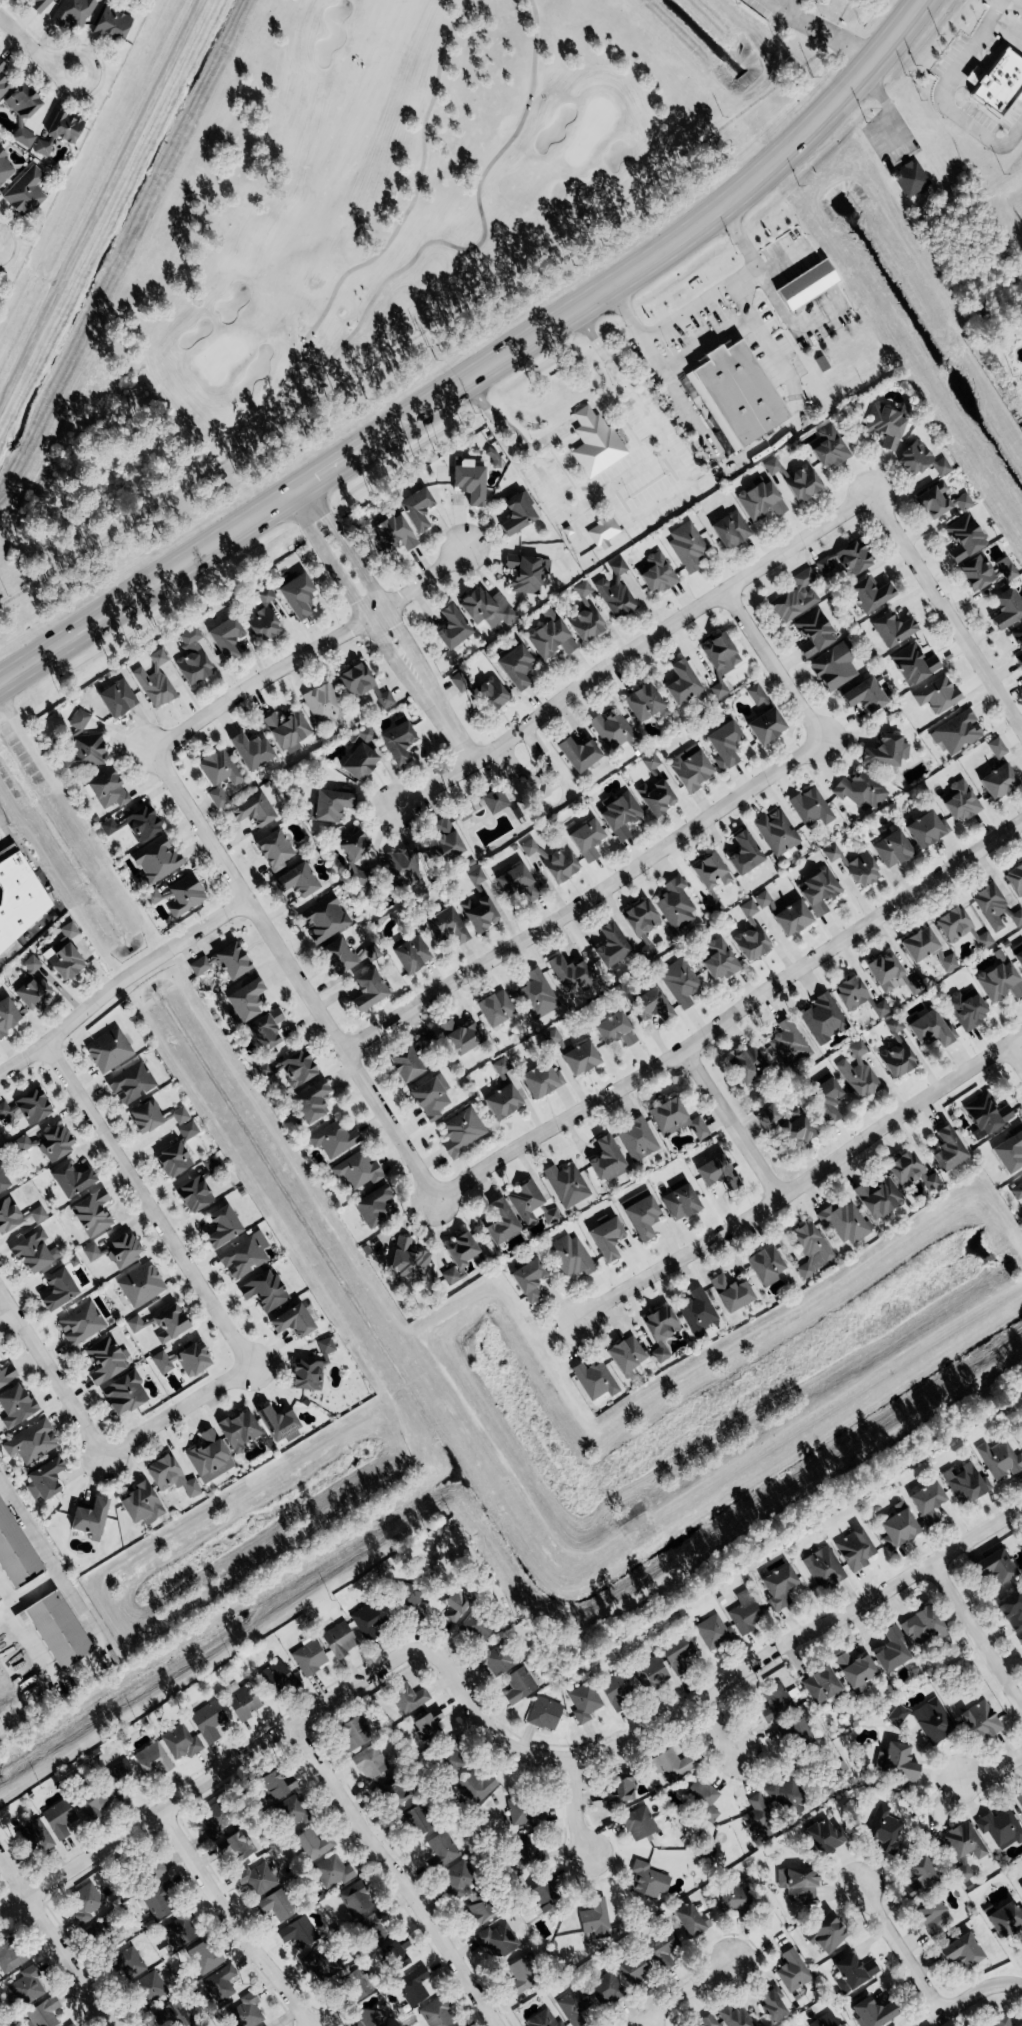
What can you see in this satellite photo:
road: (779, 4)
road: (1014, 4)
building: (40, 6)
building: (74, 13)
building: (114, 29)
road: (824, 32)
road: (31, 57)
building: (2, 66)
building: (998, 83)
building: (3, 87)
road: (940, 96)
road: (888, 106)
building: (21, 113)
park: (590, 130)
building: (58, 133)
building: (4, 168)
building: (910, 178)
building: (25, 191)
road: (665, 251)
park: (352, 255)
building: (806, 286)
road: (687, 309)
road: (705, 338)
road: (338, 350)
building: (738, 393)
building: (885, 426)
road: (776, 436)
building: (595, 443)
building: (829, 447)
building: (914, 459)
building: (773, 466)
building: (942, 467)
road: (329, 468)
building: (469, 482)
building: (802, 483)
building: (762, 501)
building: (933, 502)
building: (963, 502)
building: (416, 509)
building: (515, 515)
road: (640, 516)
building: (730, 530)
building: (604, 533)
building: (391, 534)
building: (964, 539)
building: (688, 546)
building: (845, 560)
building: (986, 571)
building: (527, 573)
building: (657, 573)
road: (366, 577)
road: (147, 585)
road: (347, 589)
building: (616, 592)
building: (870, 595)
building: (296, 596)
building: (797, 597)
building: (487, 609)
building: (1007, 609)
road: (946, 610)
building: (585, 616)
building: (262, 618)
building: (451, 628)
building: (893, 630)
building: (814, 633)
building: (1018, 636)
building: (225, 639)
building: (552, 639)
road: (630, 649)
road: (310, 651)
building: (720, 655)
building: (192, 658)
building: (1019, 659)
building: (914, 664)
road: (772, 665)
building: (515, 666)
building: (835, 668)
building: (155, 682)
building: (460, 682)
building: (681, 683)
building: (363, 687)
building: (718, 691)
building: (757, 695)
building: (938, 695)
building: (489, 696)
building: (865, 696)
building: (116, 699)
building: (645, 703)
building: (324, 704)
road: (444, 719)
building: (79, 720)
building: (765, 726)
building: (287, 730)
building: (614, 731)
building: (957, 732)
building: (397, 743)
building: (724, 745)
building: (998, 748)
building: (251, 751)
building: (886, 752)
building: (86, 753)
building: (578, 755)
building: (652, 761)
building: (359, 763)
building: (690, 769)
building: (219, 774)
building: (998, 782)
building: (107, 790)
building: (860, 792)
park: (509, 794)
building: (549, 794)
building: (655, 798)
building: (495, 801)
building: (961, 801)
building: (331, 806)
building: (812, 807)
building: (251, 810)
building: (621, 814)
building: (134, 824)
building: (777, 833)
building: (586, 841)
building: (444, 843)
building: (354, 847)
building: (892, 848)
building: (273, 850)
building: (744, 853)
building: (832, 853)
building: (156, 859)
building: (550, 863)
building: (402, 868)
building: (862, 870)
building: (710, 872)
building: (476, 876)
building: (361, 878)
building: (1015, 878)
building: (296, 880)
building: (517, 883)
building: (819, 889)
building: (153, 895)
building: (184, 895)
building: (17, 899)
road: (585, 899)
building: (676, 905)
building: (995, 907)
building: (479, 914)
building: (791, 917)
building: (324, 919)
building: (953, 923)
building: (641, 926)
building: (445, 927)
building: (750, 933)
building: (982, 939)
building: (919, 943)
building: (610, 946)
building: (64, 953)
building: (366, 954)
building: (411, 954)
building: (336, 955)
building: (1018, 957)
building: (720, 959)
building: (947, 960)
building: (222, 961)
building: (32, 963)
building: (884, 970)
road: (293, 973)
building: (570, 976)
road: (119, 979)
building: (1000, 979)
building: (679, 982)
building: (915, 985)
building: (367, 990)
building: (851, 992)
building: (33, 993)
building: (537, 993)
building: (245, 1000)
building: (651, 1005)
building: (496, 1008)
building: (881, 1009)
building: (967, 1009)
road: (731, 1014)
building: (6, 1015)
building: (824, 1018)
building: (931, 1028)
building: (265, 1029)
building: (614, 1029)
building: (460, 1035)
building: (553, 1039)
building: (789, 1044)
building: (108, 1050)
building: (897, 1052)
road: (1013, 1056)
building: (580, 1057)
building: (752, 1062)
building: (404, 1063)
building: (501, 1066)
building: (290, 1068)
building: (859, 1073)
building: (541, 1079)
building: (132, 1083)
building: (431, 1096)
building: (825, 1099)
building: (310, 1101)
building: (502, 1101)
building: (26, 1107)
building: (986, 1114)
building: (769, 1115)
building: (153, 1116)
building: (675, 1119)
road: (729, 1124)
building: (188, 1130)
building: (796, 1130)
building: (461, 1132)
building: (637, 1138)
building: (334, 1139)
building: (47, 1142)
building: (947, 1149)
building: (1010, 1150)
building: (172, 1156)
building: (606, 1159)
building: (211, 1164)
building: (358, 1170)
building: (717, 1172)
building: (911, 1174)
building: (71, 1179)
building: (2, 1182)
road: (799, 1183)
building: (567, 1184)
building: (1017, 1191)
building: (193, 1194)
building: (878, 1197)
building: (680, 1200)
building: (531, 1204)
road: (146, 1205)
building: (372, 1206)
building: (91, 1213)
building: (641, 1214)
building: (18, 1215)
building: (500, 1221)
building: (844, 1222)
building: (221, 1226)
building: (606, 1237)
building: (811, 1249)
building: (115, 1251)
building: (34, 1252)
building: (244, 1255)
building: (570, 1255)
building: (460, 1256)
building: (407, 1259)
building: (766, 1265)
building: (528, 1280)
building: (140, 1285)
building: (57, 1289)
building: (263, 1291)
building: (731, 1292)
building: (698, 1312)
road: (3, 1313)
building: (291, 1321)
building: (81, 1323)
building: (168, 1323)
building: (136, 1324)
building: (661, 1330)
building: (626, 1356)
building: (105, 1360)
building: (182, 1360)
building: (310, 1368)
building: (7, 1374)
road: (49, 1378)
building: (595, 1380)
building: (123, 1393)
building: (15, 1406)
road: (174, 1412)
building: (276, 1422)
building: (237, 1431)
building: (1019, 1433)
building: (31, 1442)
building: (209, 1457)
building: (1000, 1459)
building: (169, 1476)
building: (43, 1480)
building: (966, 1483)
building: (928, 1502)
building: (140, 1504)
building: (89, 1518)
building: (899, 1525)
building: (855, 1549)
building: (14, 1553)
road: (44, 1557)
building: (995, 1566)
building: (824, 1567)
building: (779, 1585)
building: (412, 1599)
building: (453, 1603)
building: (1012, 1609)
building: (745, 1613)
building: (367, 1620)
building: (921, 1625)
building: (475, 1628)
building: (56, 1630)
building: (714, 1632)
road: (976, 1637)
building: (339, 1640)
building: (1020, 1641)
building: (891, 1651)
building: (678, 1654)
building: (309, 1658)
building: (494, 1661)
building: (855, 1671)
building: (652, 1672)
building: (275, 1677)
building: (520, 1685)
building: (820, 1685)
road: (713, 1687)
building: (616, 1690)
building: (408, 1698)
building: (241, 1700)
building: (585, 1702)
building: (776, 1702)
building: (544, 1713)
building: (898, 1714)
building: (934, 1720)
building: (979, 1721)
building: (208, 1722)
building: (428, 1724)
road: (720, 1724)
building: (354, 1731)
building: (798, 1732)
building: (181, 1741)
building: (451, 1754)
building: (150, 1757)
building: (370, 1762)
building: (897, 1762)
building: (671, 1765)
road: (994, 1771)
building: (121, 1773)
road: (209, 1777)
building: (279, 1786)
building: (477, 1786)
building: (392, 1792)
building: (620, 1792)
building: (787, 1796)
building: (701, 1799)
building: (1019, 1799)
building: (93, 1802)
road: (573, 1806)
building: (292, 1810)
building: (527, 1813)
building: (758, 1815)
building: (59, 1819)
building: (417, 1821)
building: (214, 1823)
building: (639, 1823)
building: (1001, 1827)
building: (883, 1830)
building: (34, 1836)
building: (822, 1837)
building: (315, 1843)
building: (234, 1847)
building: (963, 1847)
building: (444, 1848)
building: (527, 1852)
building: (154, 1870)
building: (332, 1872)
road: (395, 1874)
building: (918, 1876)
building: (459, 1877)
building: (258, 1879)
building: (648, 1881)
building: (798, 1884)
building: (1021, 1888)
building: (546, 1893)
building: (735, 1896)
building: (354, 1898)
building: (159, 1900)
building: (85, 1902)
building: (275, 1906)
building: (478, 1915)
building: (595, 1915)
building: (933, 1916)
building: (1006, 1918)
road: (230, 1920)
building: (691, 1920)
building: (375, 1925)
building: (179, 1930)
building: (298, 1932)
building: (826, 1935)
building: (496, 1940)
road: (54, 1942)
building: (663, 1944)
road: (898, 1948)
building: (961, 1952)
building: (396, 1953)
building: (9, 1956)
building: (204, 1957)
building: (131, 1963)
building: (319, 1964)
building: (635, 1970)
building: (793, 1971)
building: (853, 1973)
building: (220, 1980)
building: (354, 1984)
building: (150, 1985)
building: (413, 1986)
building: (26, 1987)
building: (517, 1987)
building: (606, 1989)
road: (680, 1993)
road: (971, 1996)
building: (772, 2003)
building: (574, 2006)
building: (246, 2011)
building: (44, 2013)
building: (437, 2013)
building: (872, 2013)
building: (736, 2016)
building: (543, 2020)
road: (650, 2020)
building: (710, 2020)
building: (824, 2021)
building: (1000, 2022)
building: (264, 2025)
building: (459, 2025)
building: (846, 2025)

